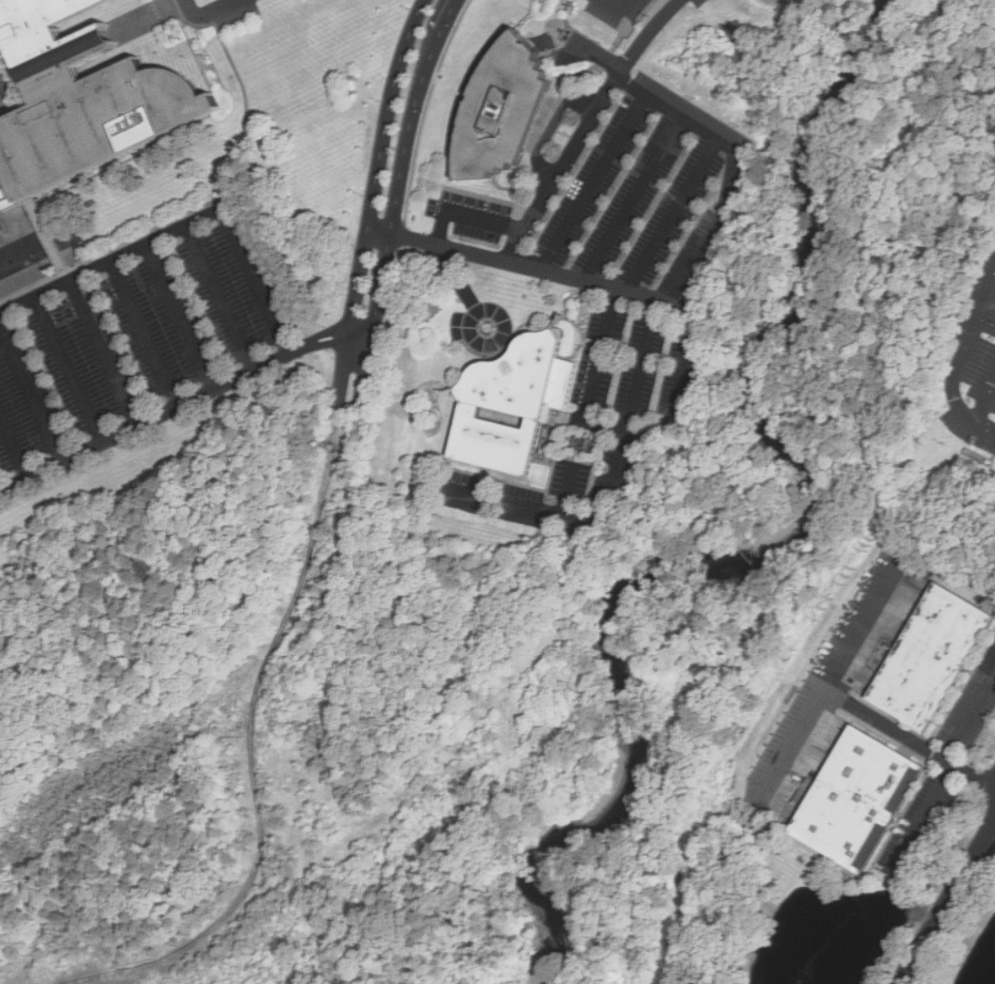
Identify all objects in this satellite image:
parking lot: (707, 1)
road: (624, 6)
road: (212, 12)
parking lot: (628, 12)
road: (143, 19)
road: (196, 23)
river: (859, 62)
road: (15, 80)
road: (14, 90)
building: (79, 102)
building: (500, 111)
road: (250, 115)
road: (590, 129)
road: (738, 171)
road: (598, 181)
road: (638, 197)
road: (371, 199)
road: (397, 200)
road: (678, 214)
road: (491, 219)
road: (181, 228)
road: (48, 235)
road: (116, 248)
road: (38, 254)
road: (460, 281)
parking lot: (625, 282)
road: (220, 298)
road: (179, 318)
road: (649, 332)
road: (972, 333)
road: (145, 334)
road: (470, 335)
parking lot: (136, 340)
road: (104, 353)
road: (69, 370)
parking lot: (977, 379)
road: (983, 393)
road: (32, 395)
road: (958, 400)
building: (511, 404)
road: (184, 405)
road: (338, 410)
road: (352, 418)
road: (983, 424)
road: (630, 429)
road: (15, 447)
road: (573, 489)
river: (719, 562)
road: (861, 633)
building: (938, 653)
road: (857, 707)
road: (969, 713)
road: (252, 753)
building: (868, 792)
road: (923, 816)
road: (994, 832)
road: (948, 906)
fountain: (801, 980)

